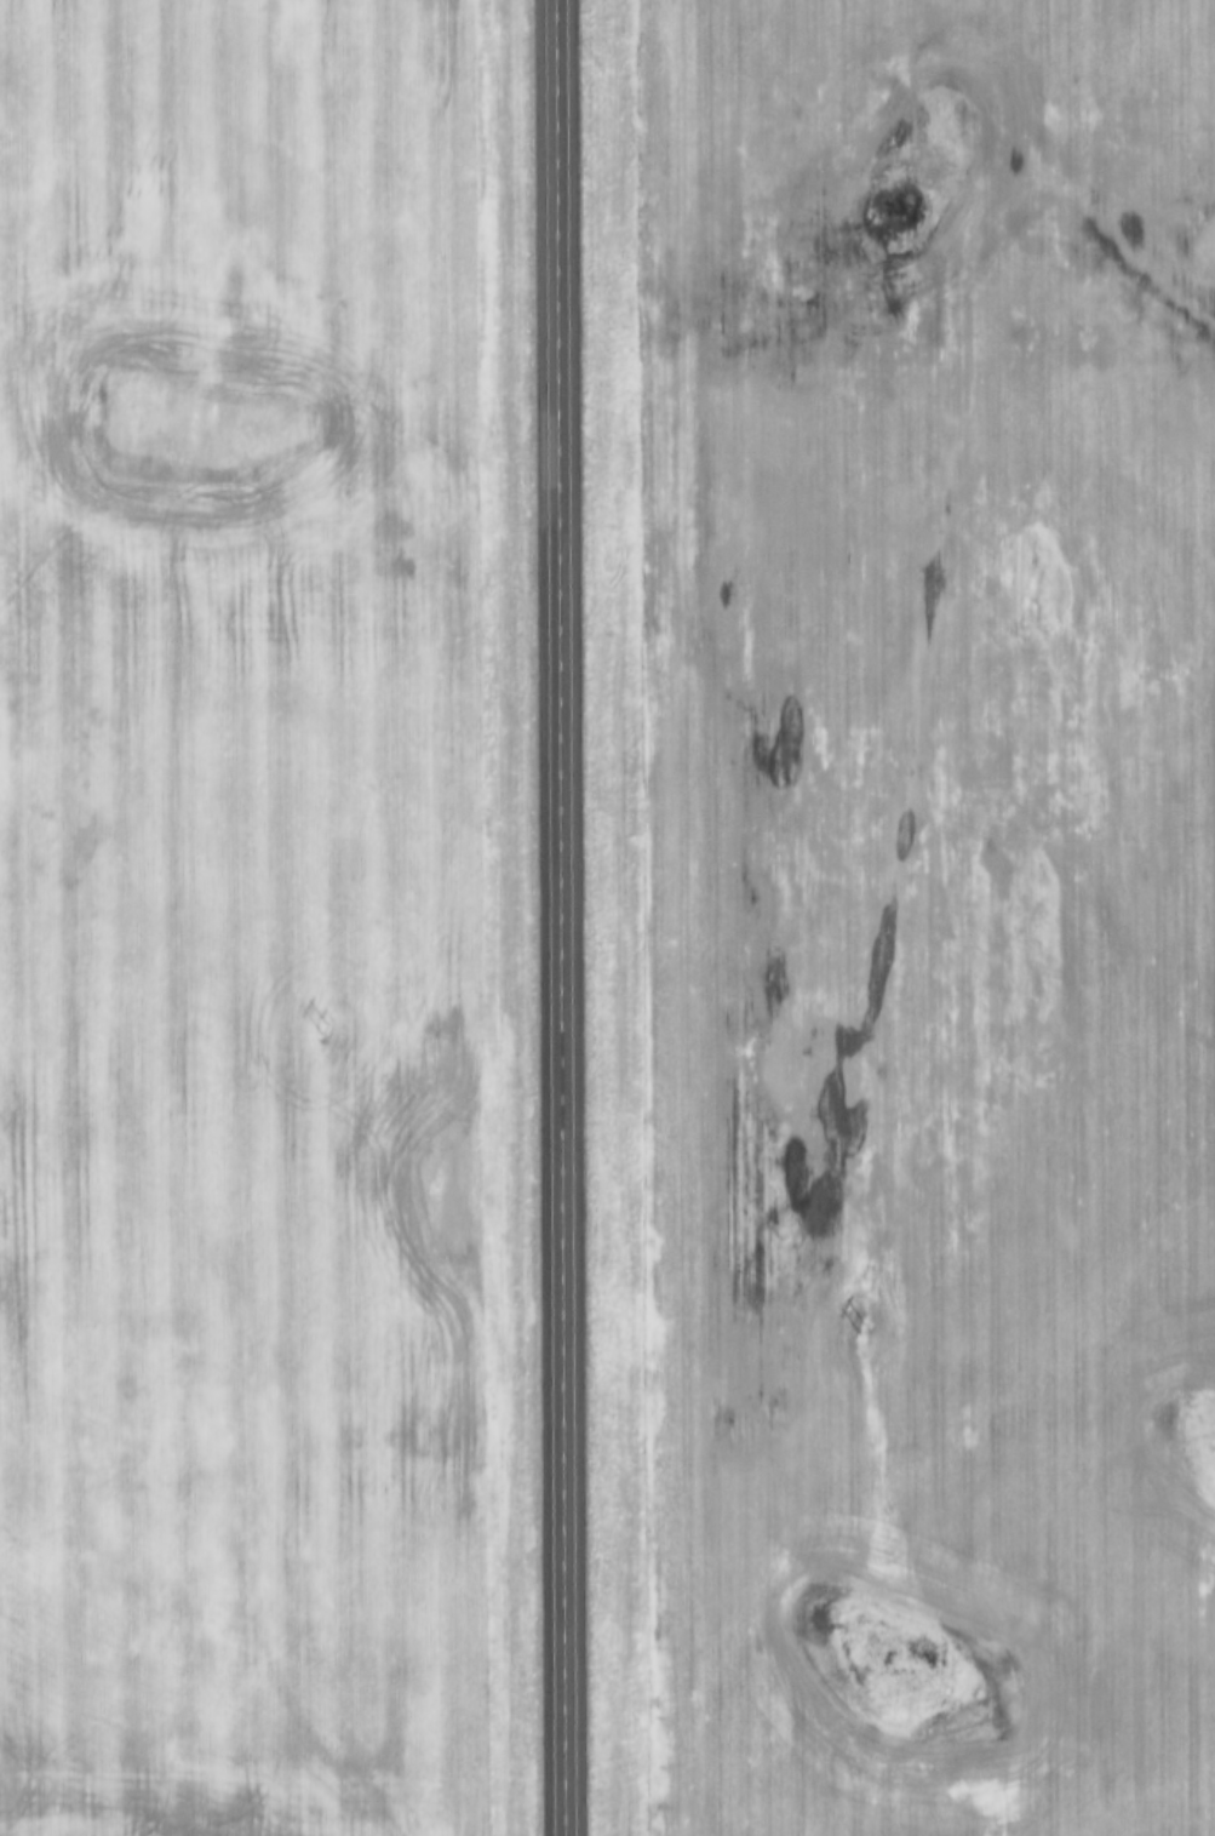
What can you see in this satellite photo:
road: (581, 917)
power tower: (326, 1026)
power tower: (858, 1326)

